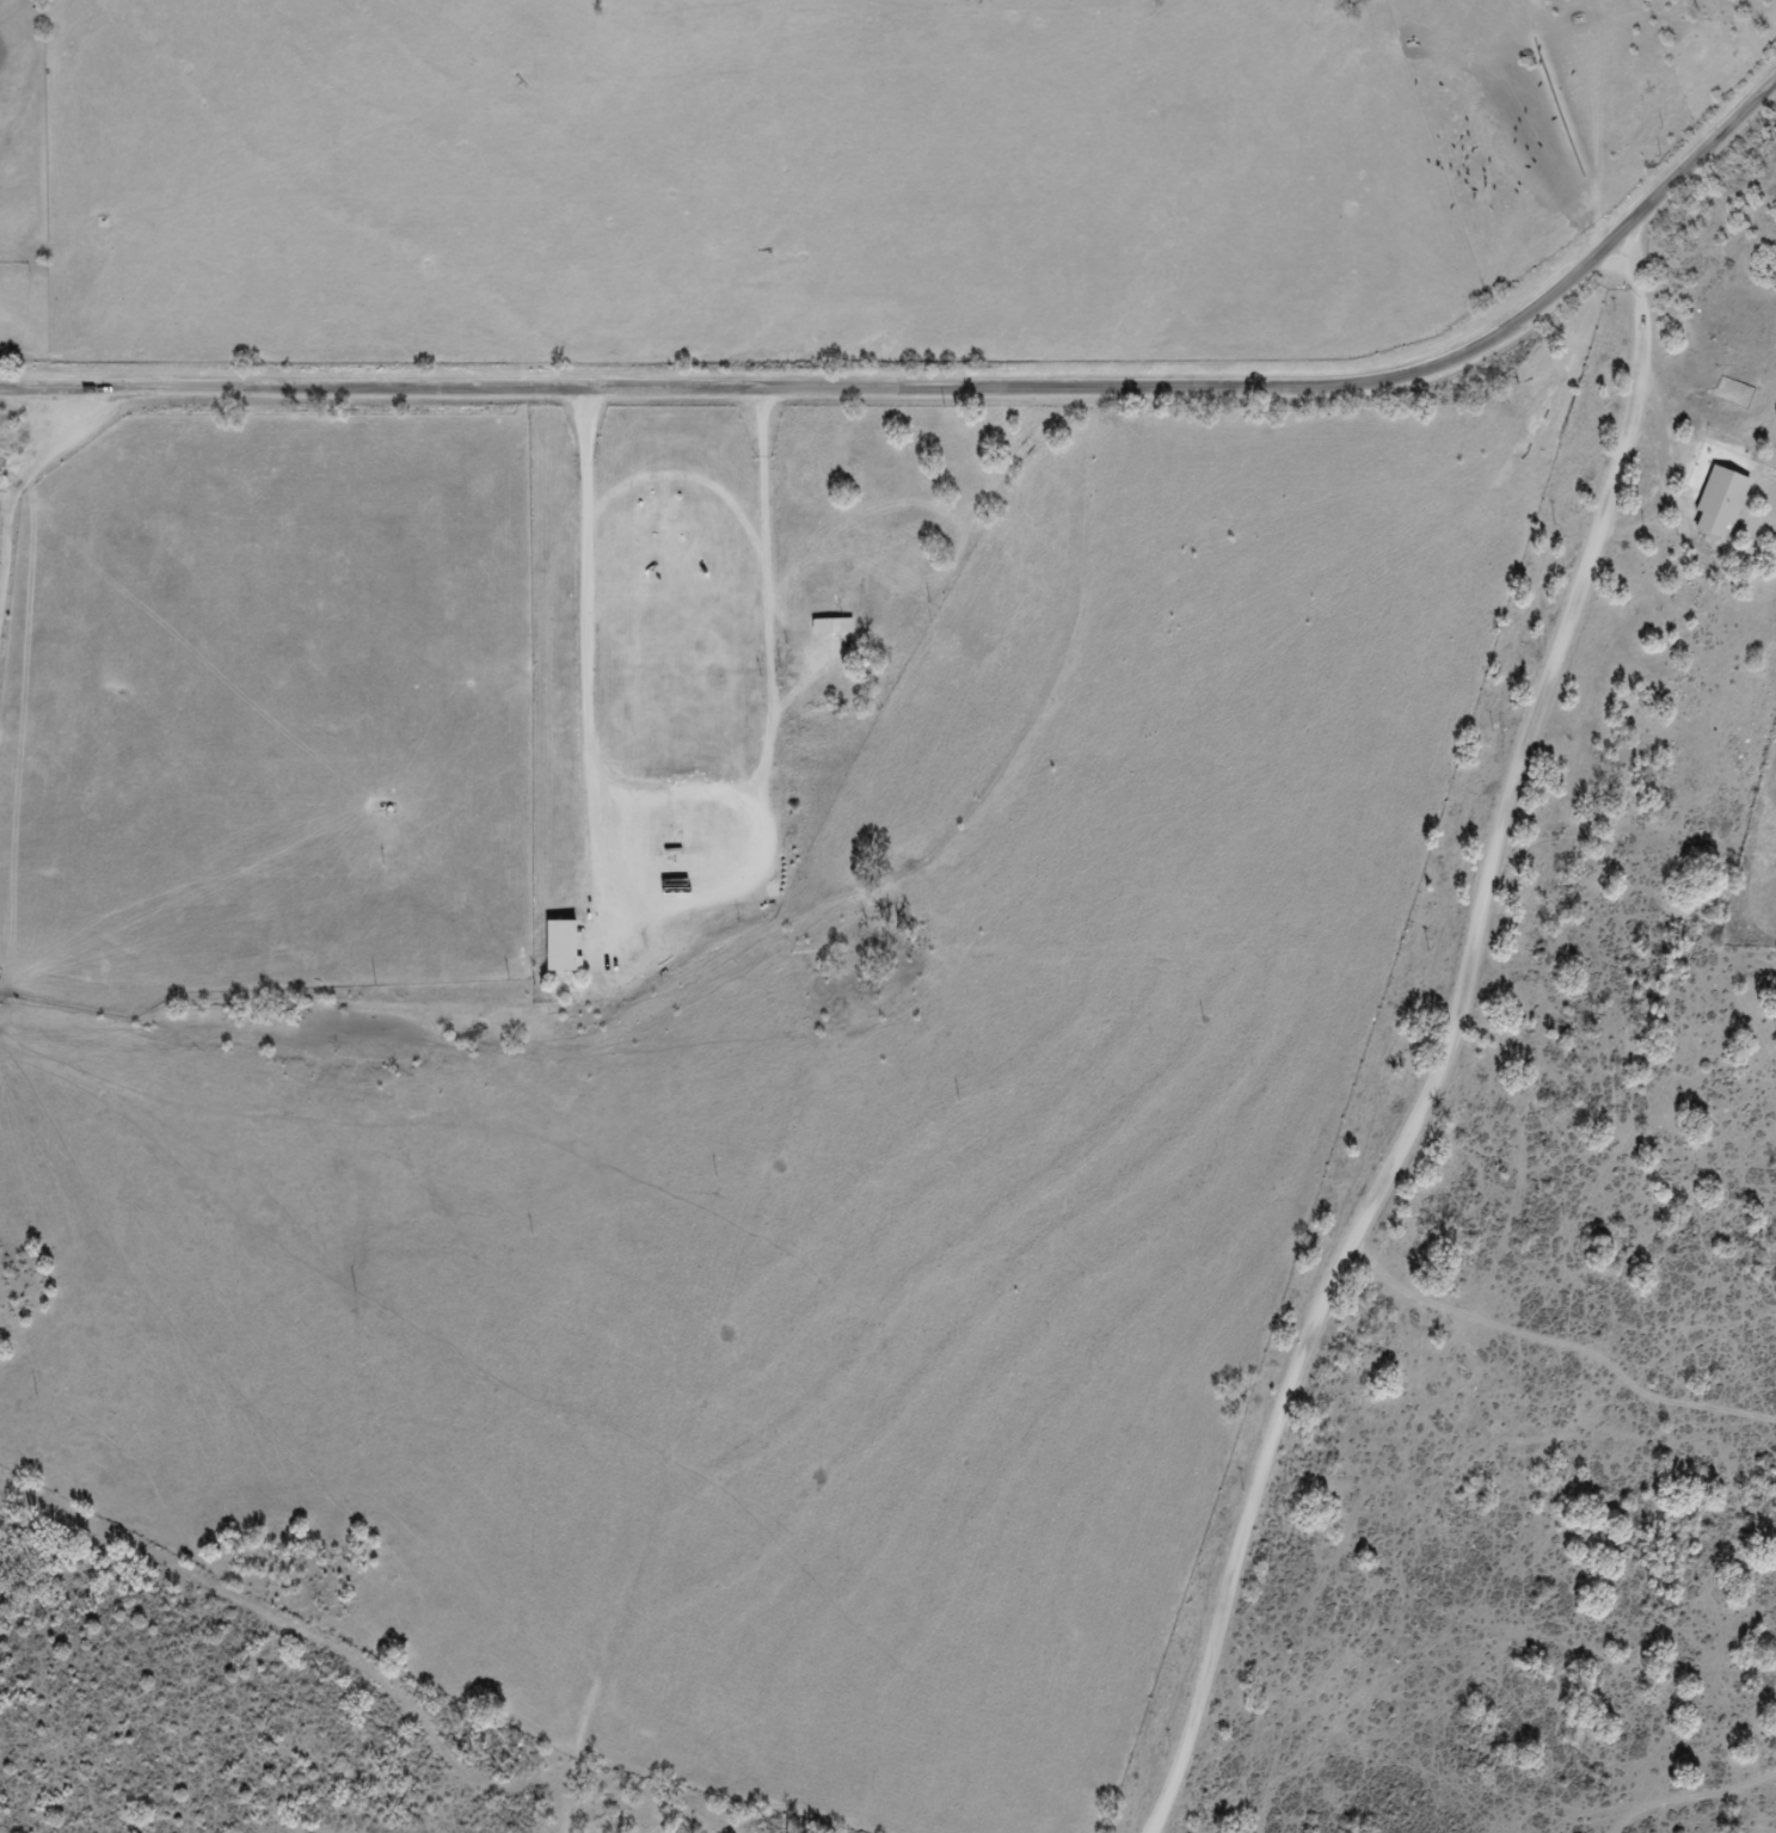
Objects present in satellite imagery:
road: (945, 404)
building: (831, 626)
building: (559, 947)
road: (1408, 1079)

